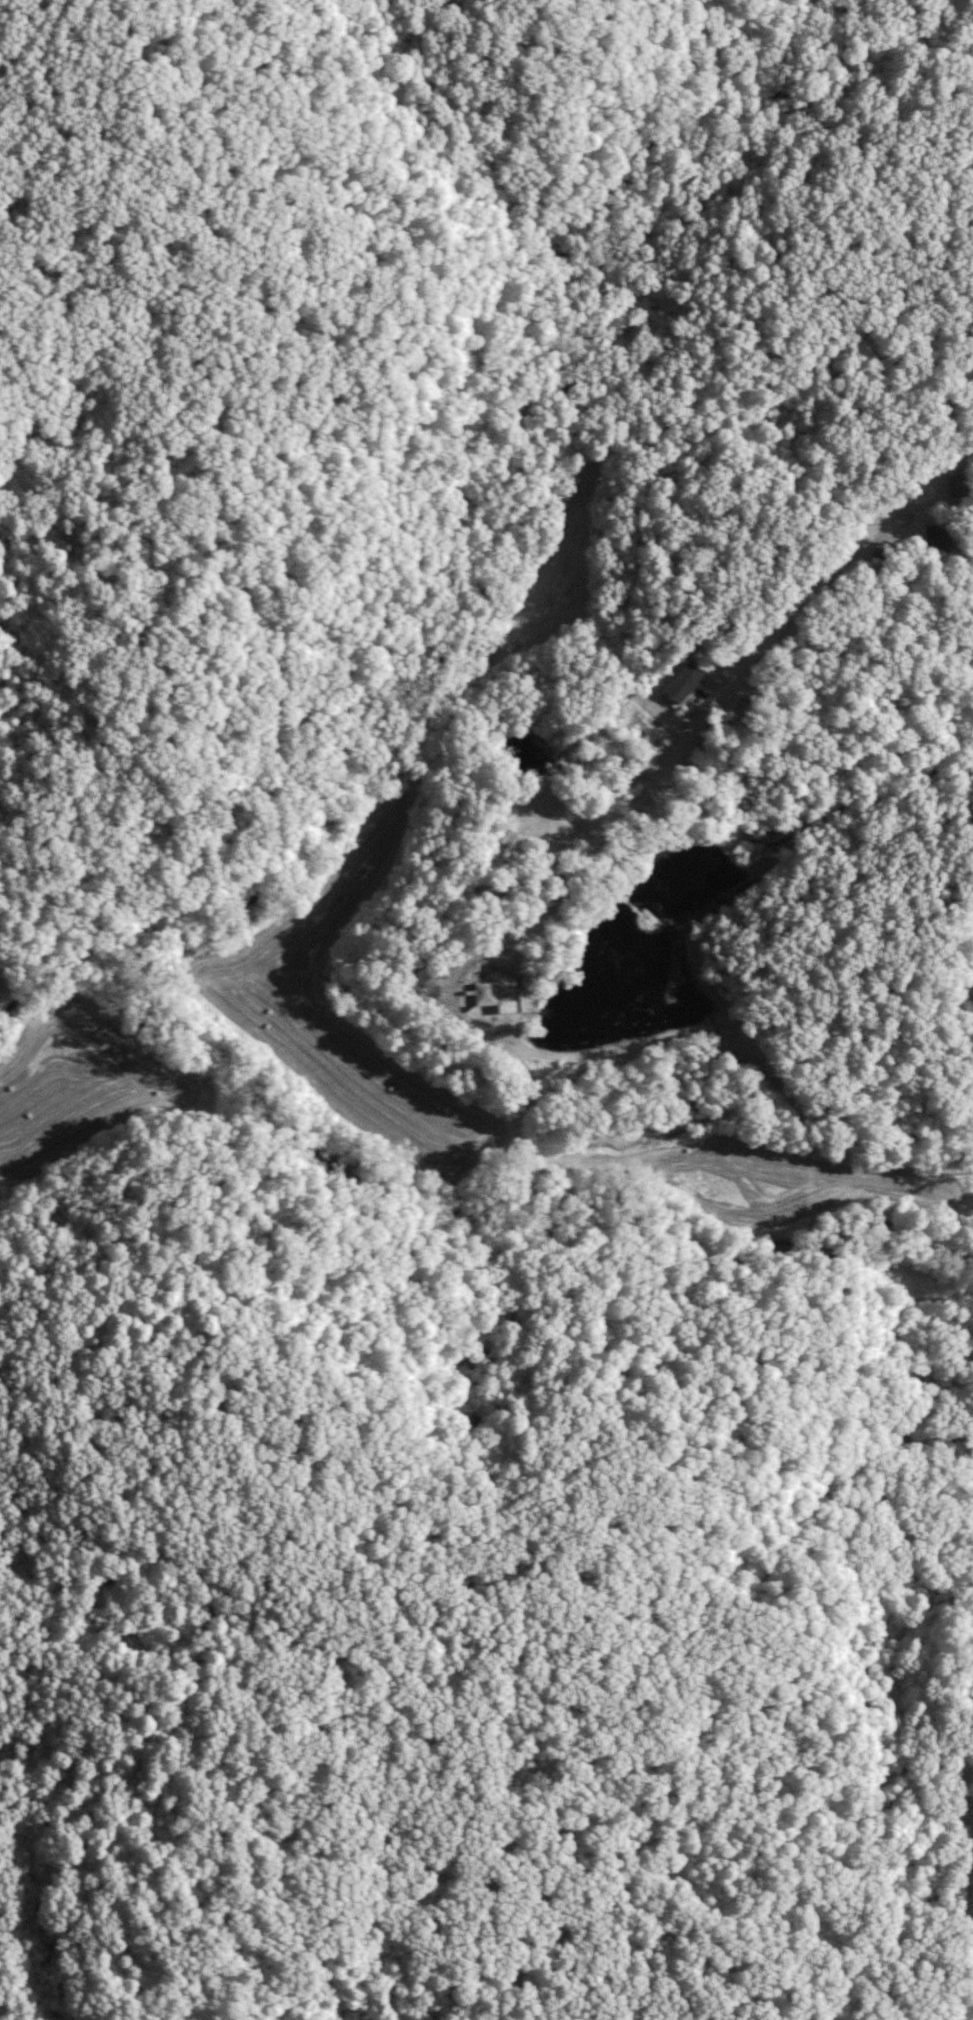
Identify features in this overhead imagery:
building: (933, 537)
road: (836, 559)
building: (681, 681)
building: (540, 875)
building: (494, 994)

